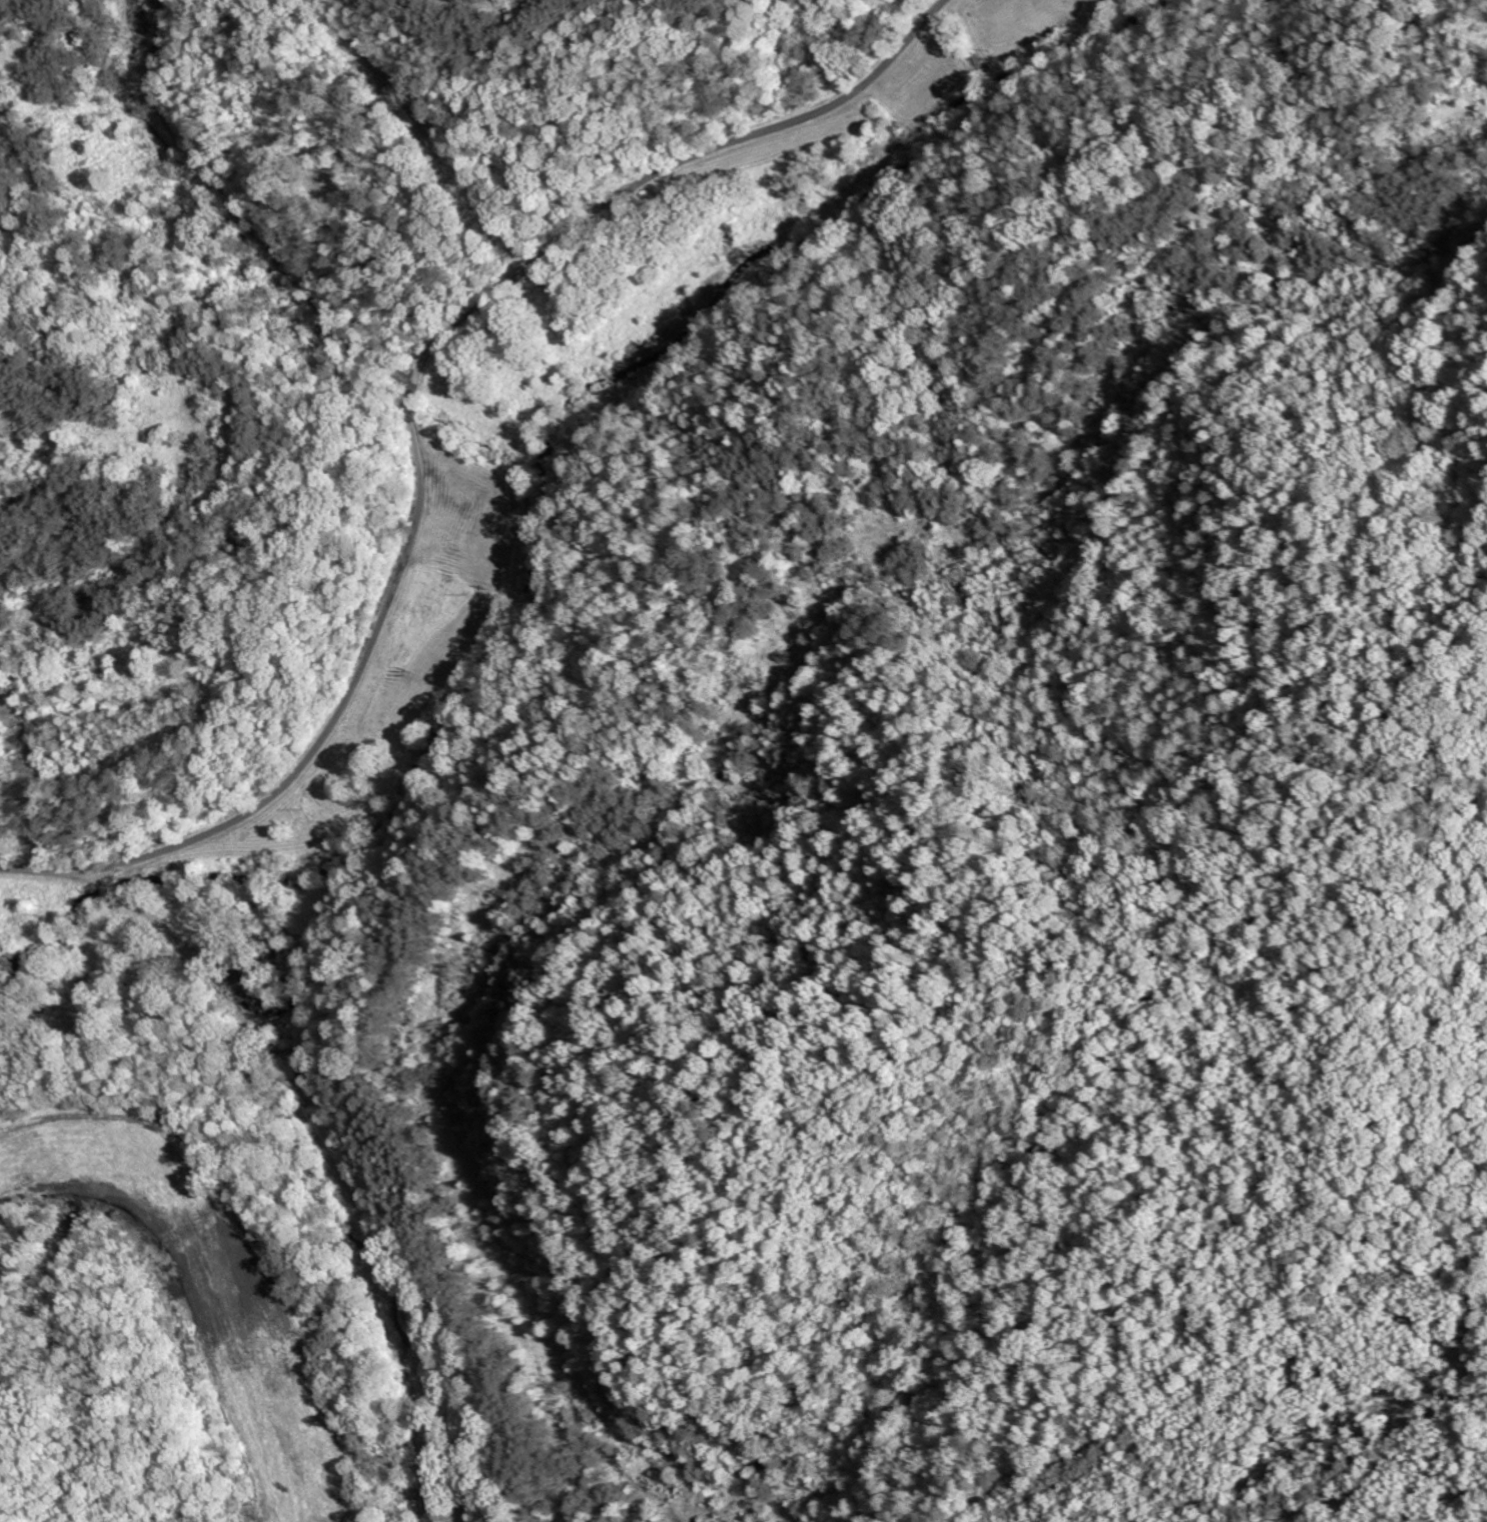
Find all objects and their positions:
road: (916, 32)
road: (422, 462)
road: (100, 562)
road: (97, 888)
road: (344, 1188)

